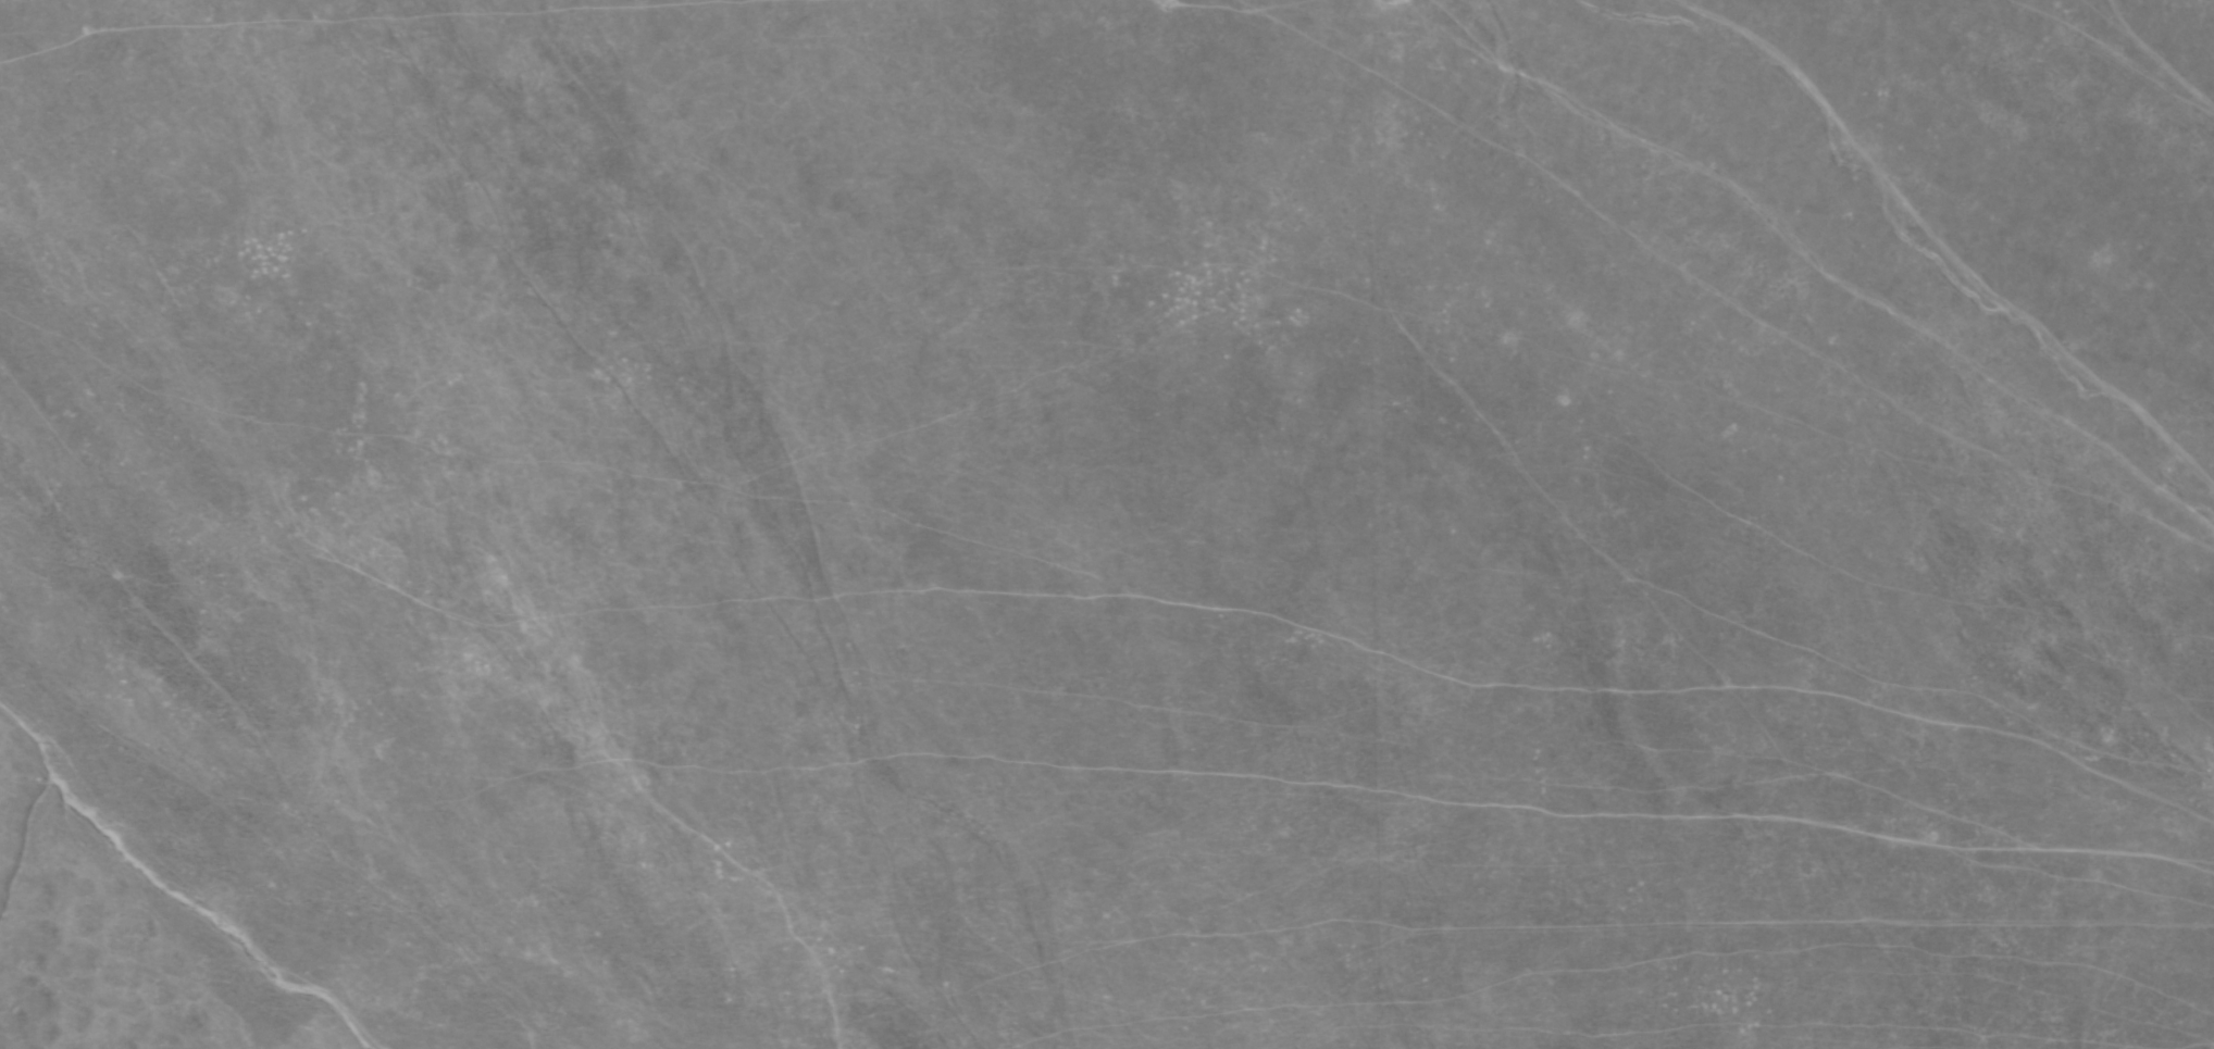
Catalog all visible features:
road: (2109, 55)

